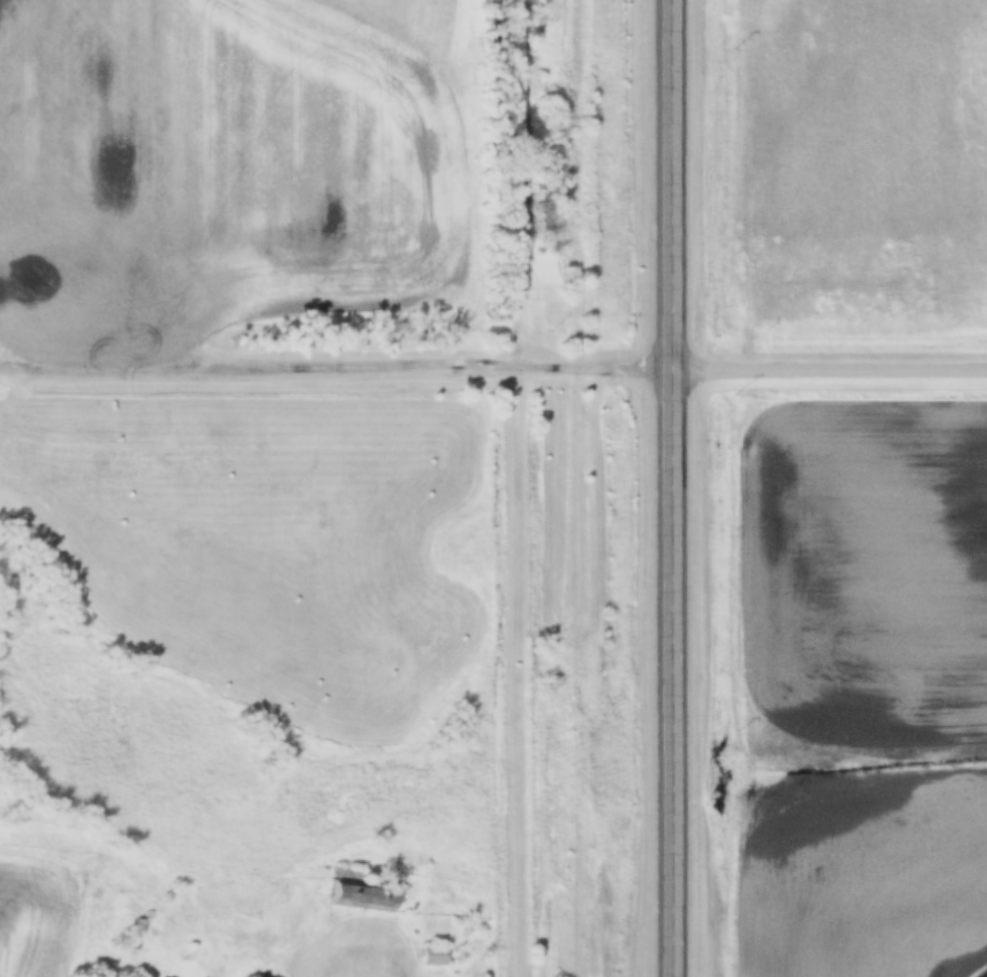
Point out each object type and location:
road: (336, 369)
road: (830, 374)
road: (674, 488)
building: (359, 893)
building: (436, 958)

